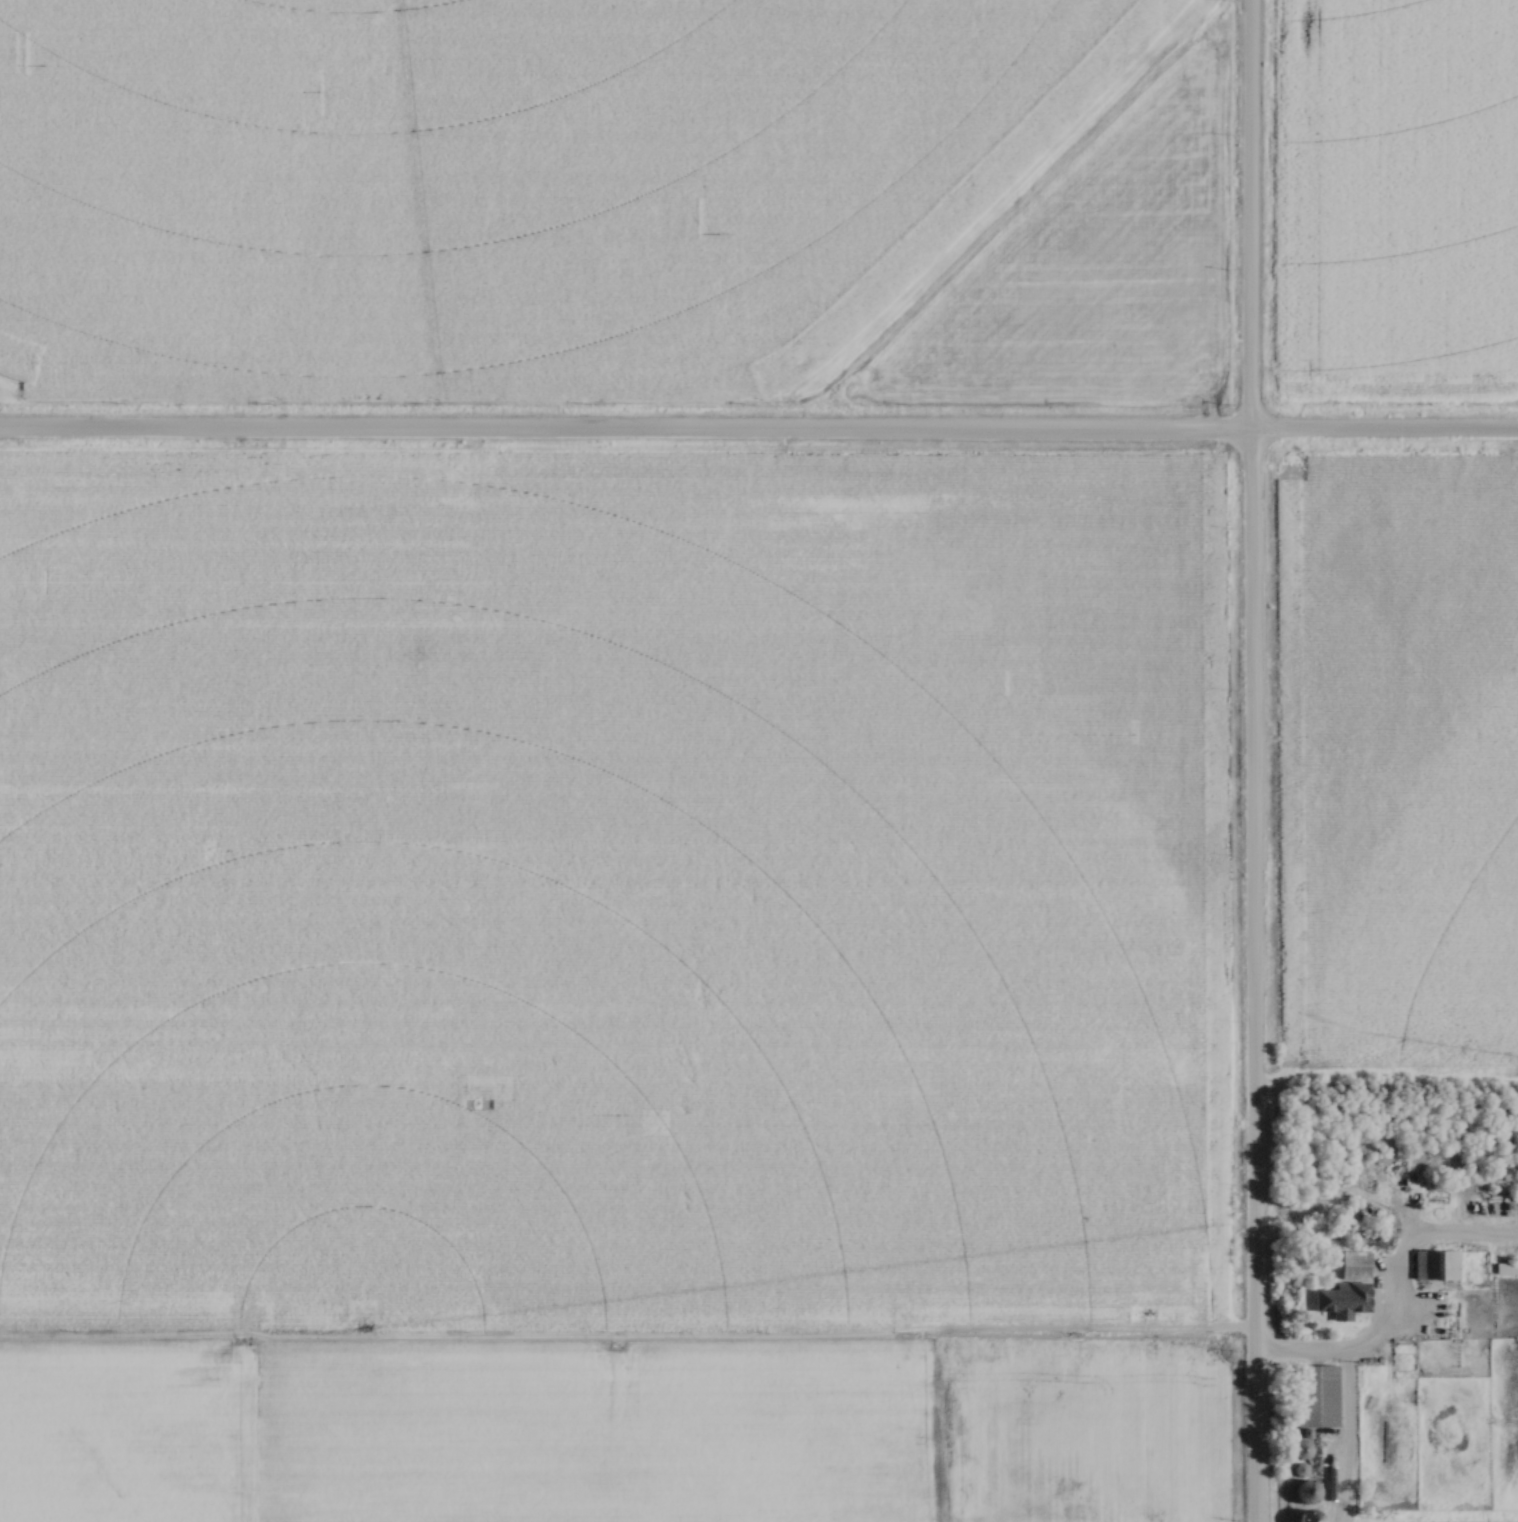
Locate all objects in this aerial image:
road: (759, 434)
road: (1251, 761)
road: (1396, 1261)
building: (1431, 1264)
building: (1341, 1287)
building: (1311, 1395)
road: (1346, 1401)
building: (1302, 1491)

